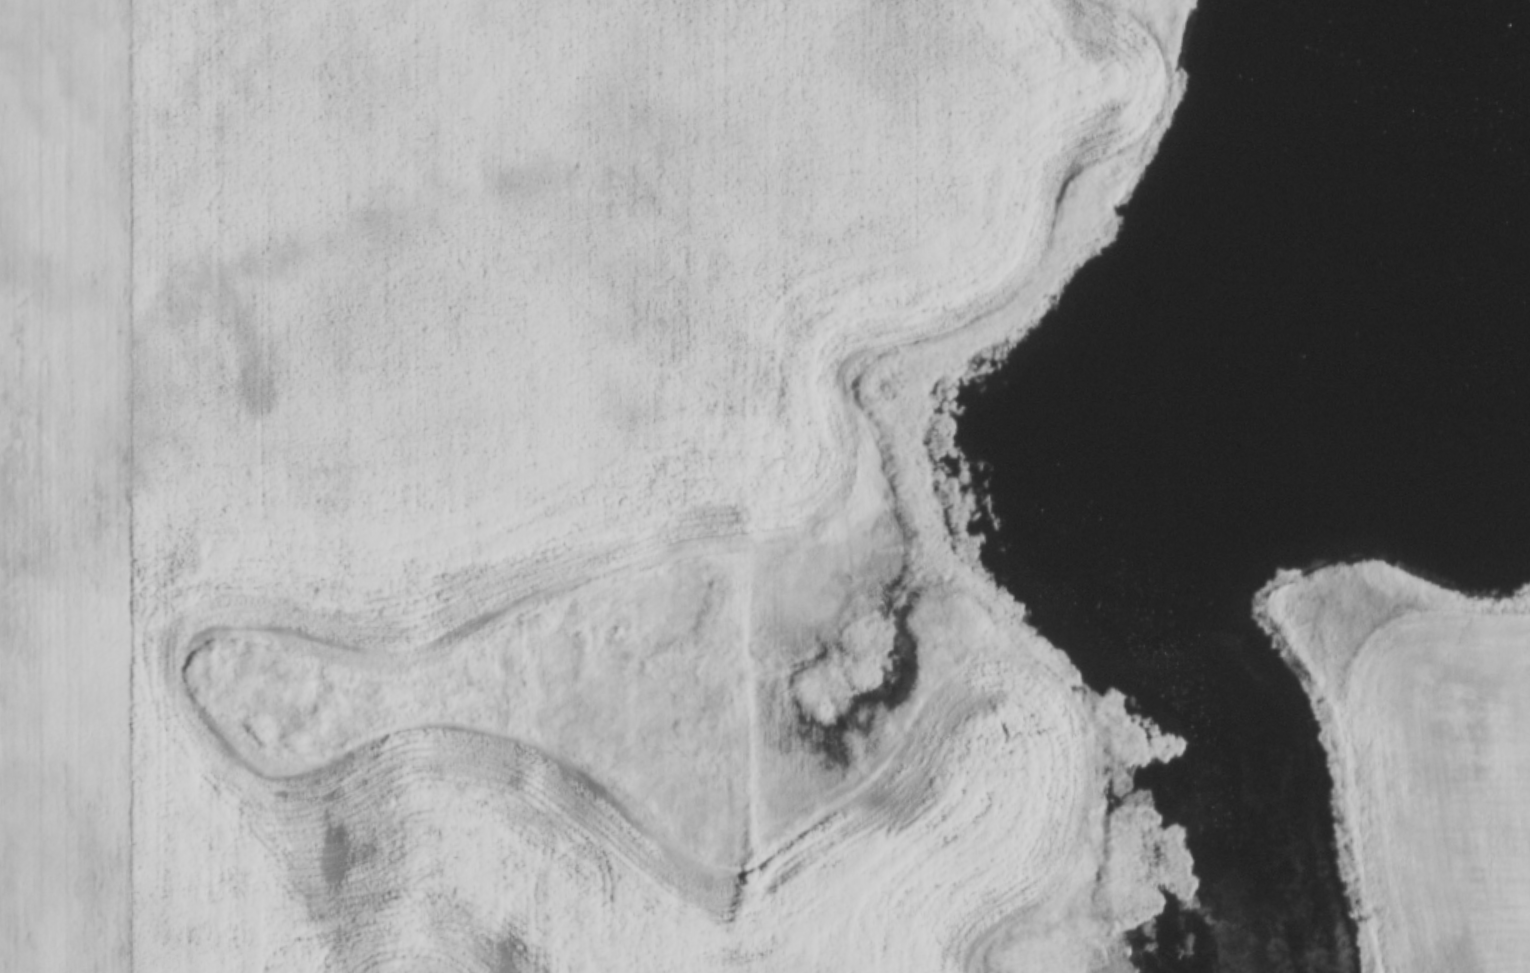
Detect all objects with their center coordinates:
crop: (1461, 792)

